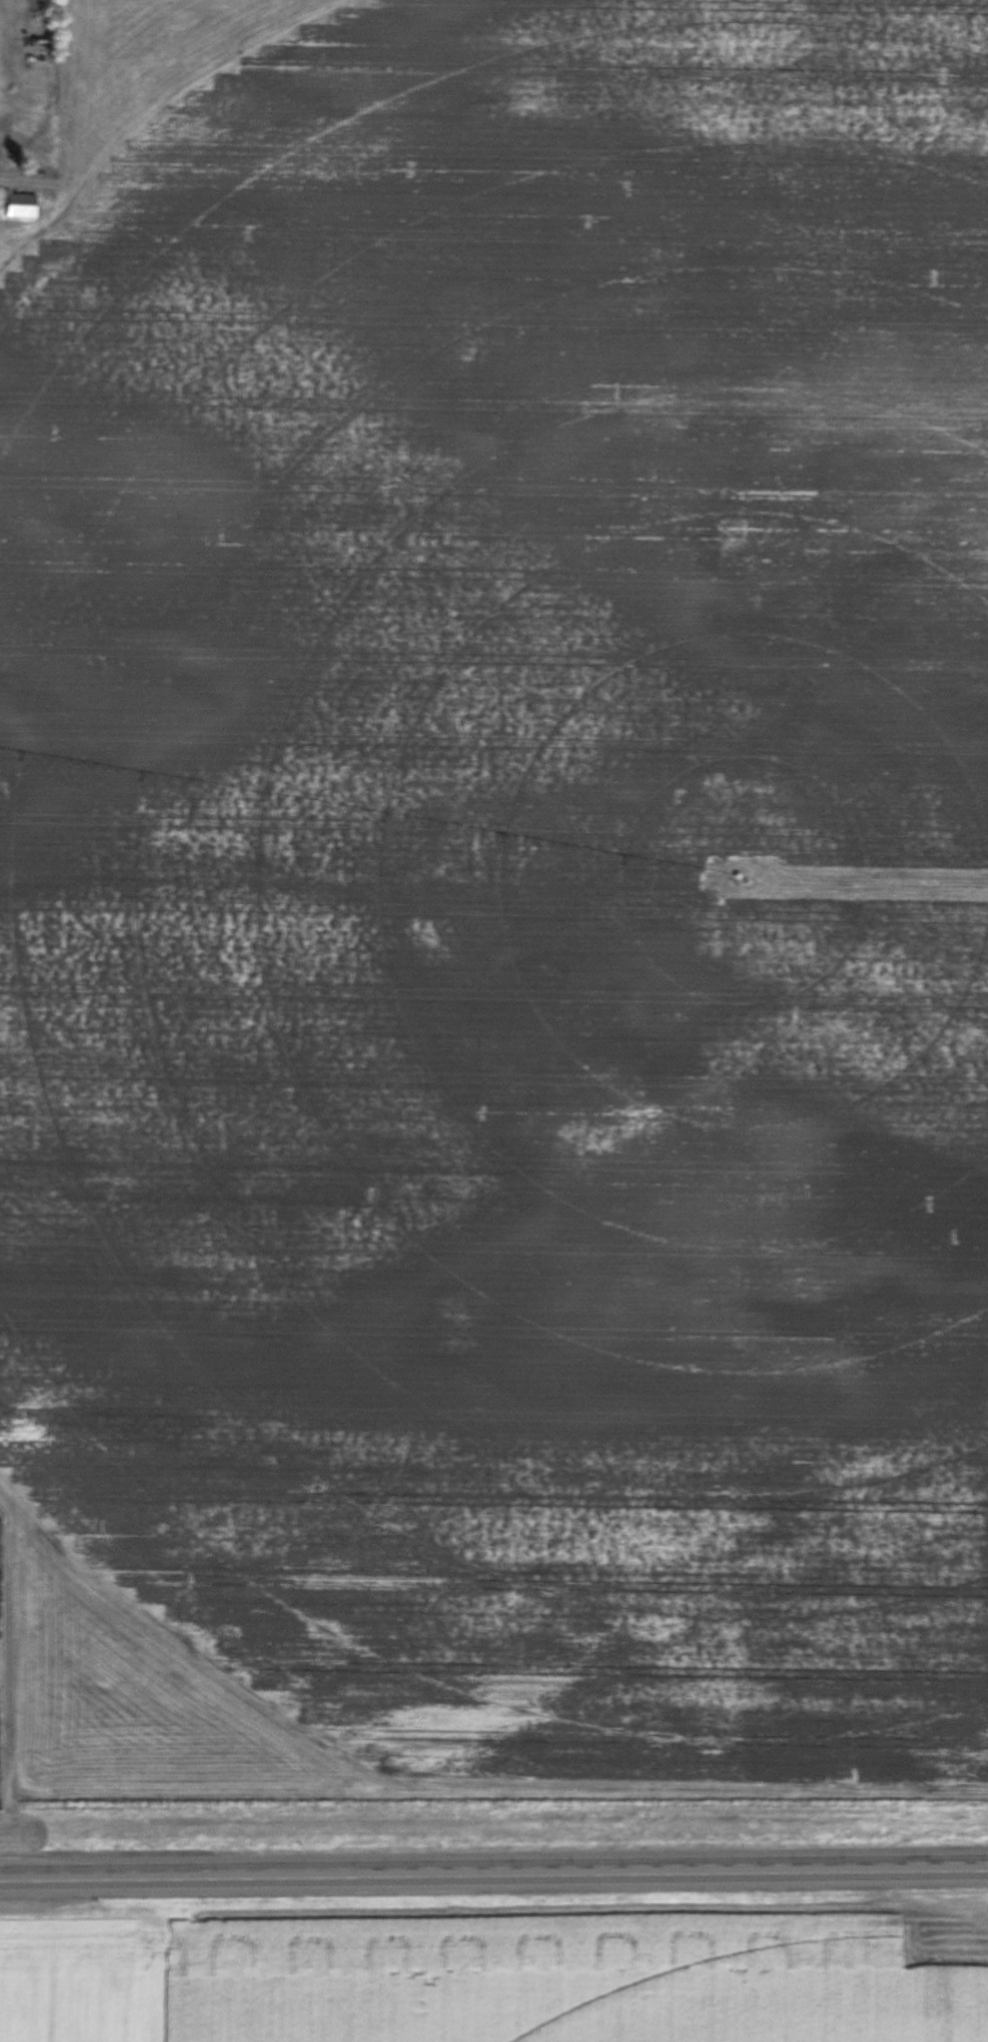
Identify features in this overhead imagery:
building: (23, 207)
road: (493, 1875)

